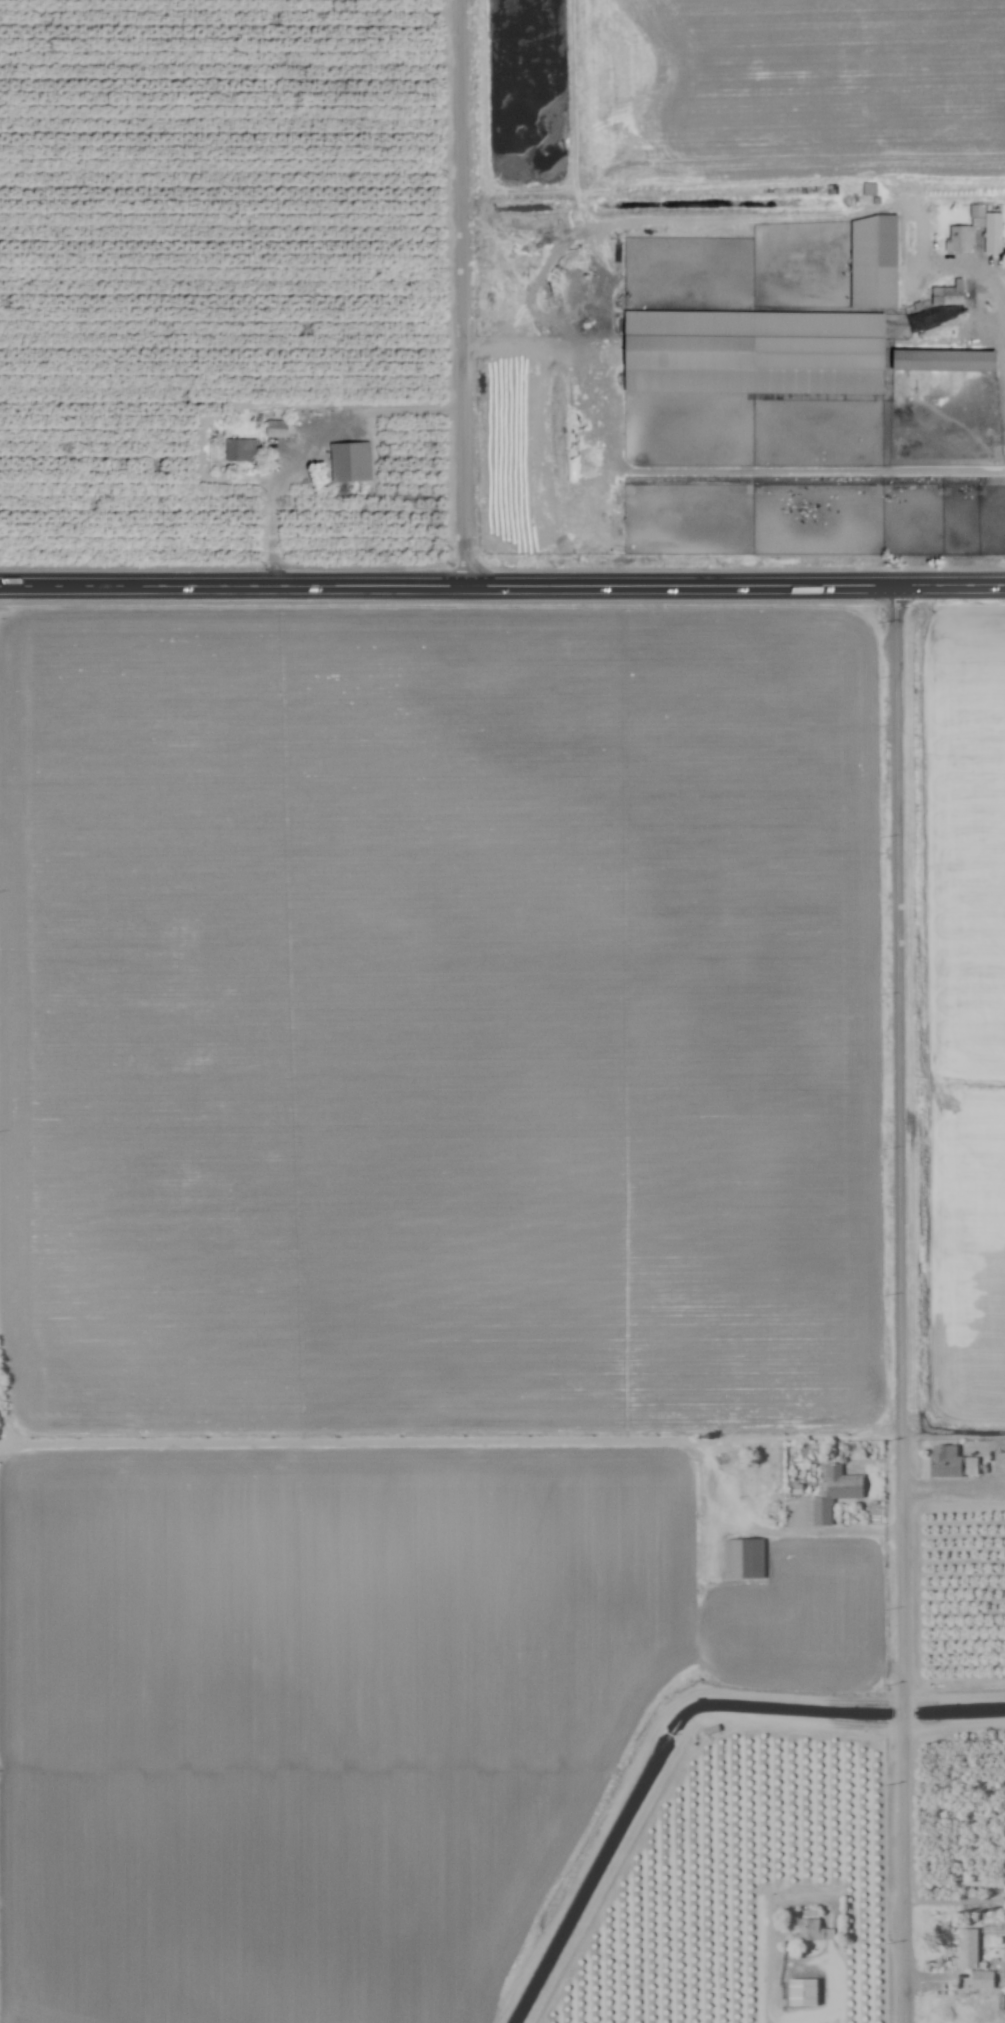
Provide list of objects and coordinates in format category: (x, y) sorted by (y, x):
building: (990, 231)
building: (960, 242)
building: (874, 264)
road: (462, 292)
building: (948, 297)
road: (1001, 323)
building: (754, 355)
building: (945, 363)
building: (277, 431)
building: (579, 435)
building: (241, 453)
building: (350, 464)
road: (680, 470)
road: (273, 511)
road: (502, 584)
road: (900, 1143)
building: (950, 1463)
road: (707, 1464)
building: (999, 1464)
road: (953, 1491)
building: (834, 1493)
building: (1000, 1512)
building: (742, 1559)
building: (957, 1581)
road: (953, 1695)
road: (903, 1711)
road: (954, 1724)
road: (904, 1871)
building: (808, 1931)
building: (967, 1949)
building: (982, 1981)
building: (802, 1993)

